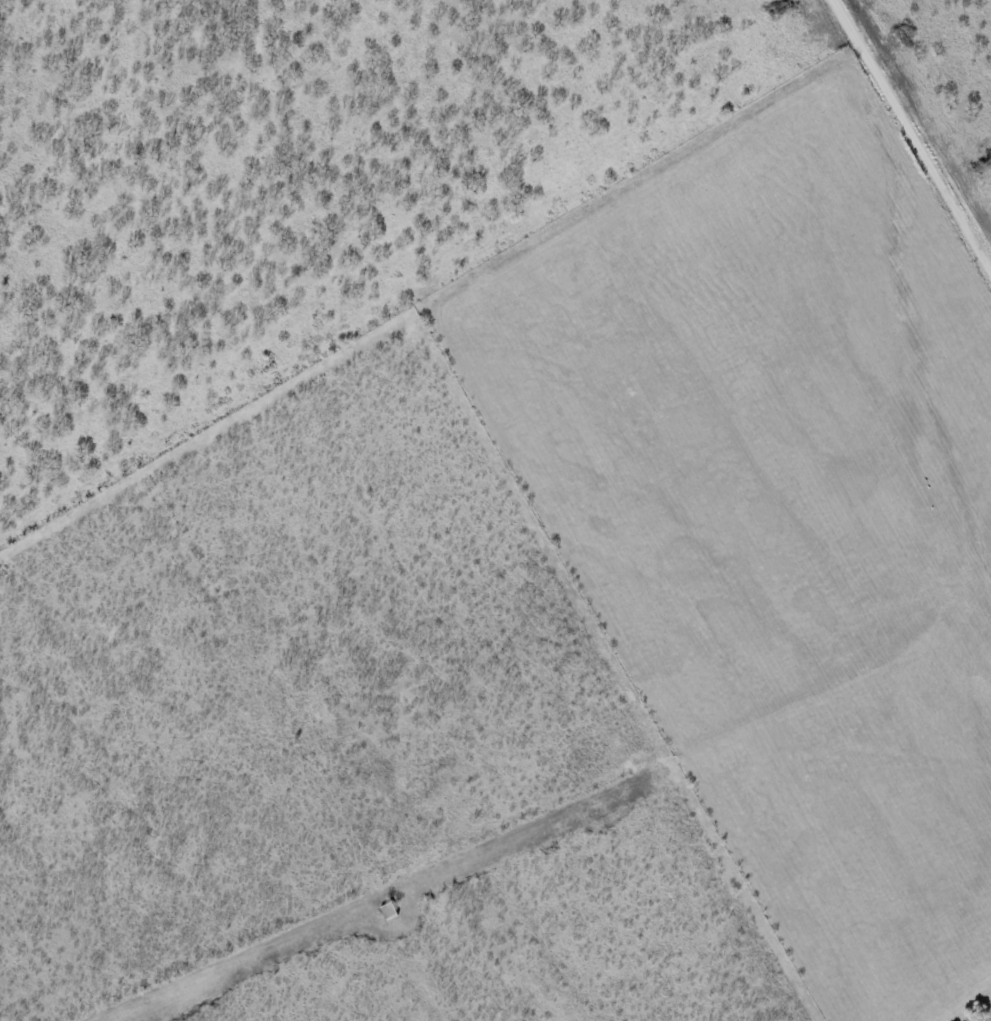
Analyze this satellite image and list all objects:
road: (915, 129)

